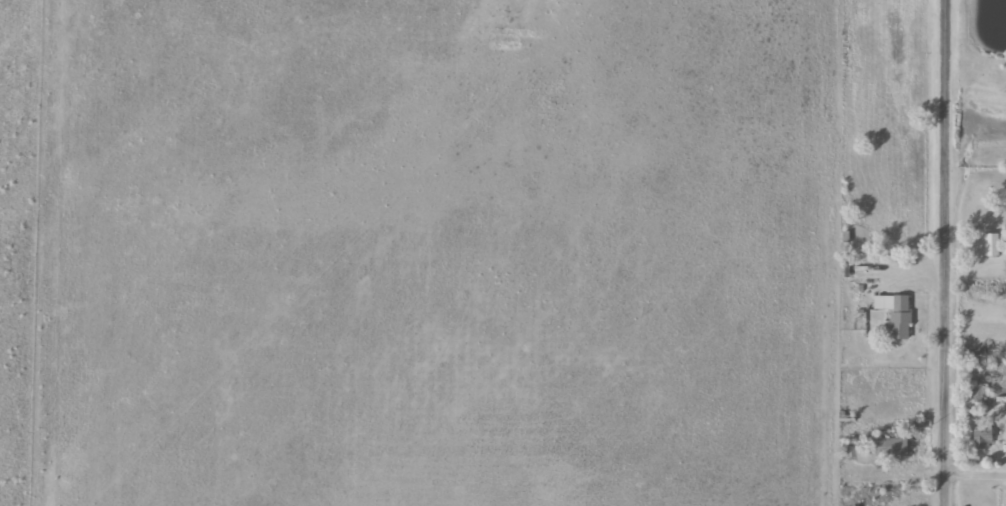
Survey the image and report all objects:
building: (998, 245)
road: (951, 253)
building: (904, 317)
building: (1002, 398)
building: (981, 435)
building: (878, 449)
road: (976, 477)

